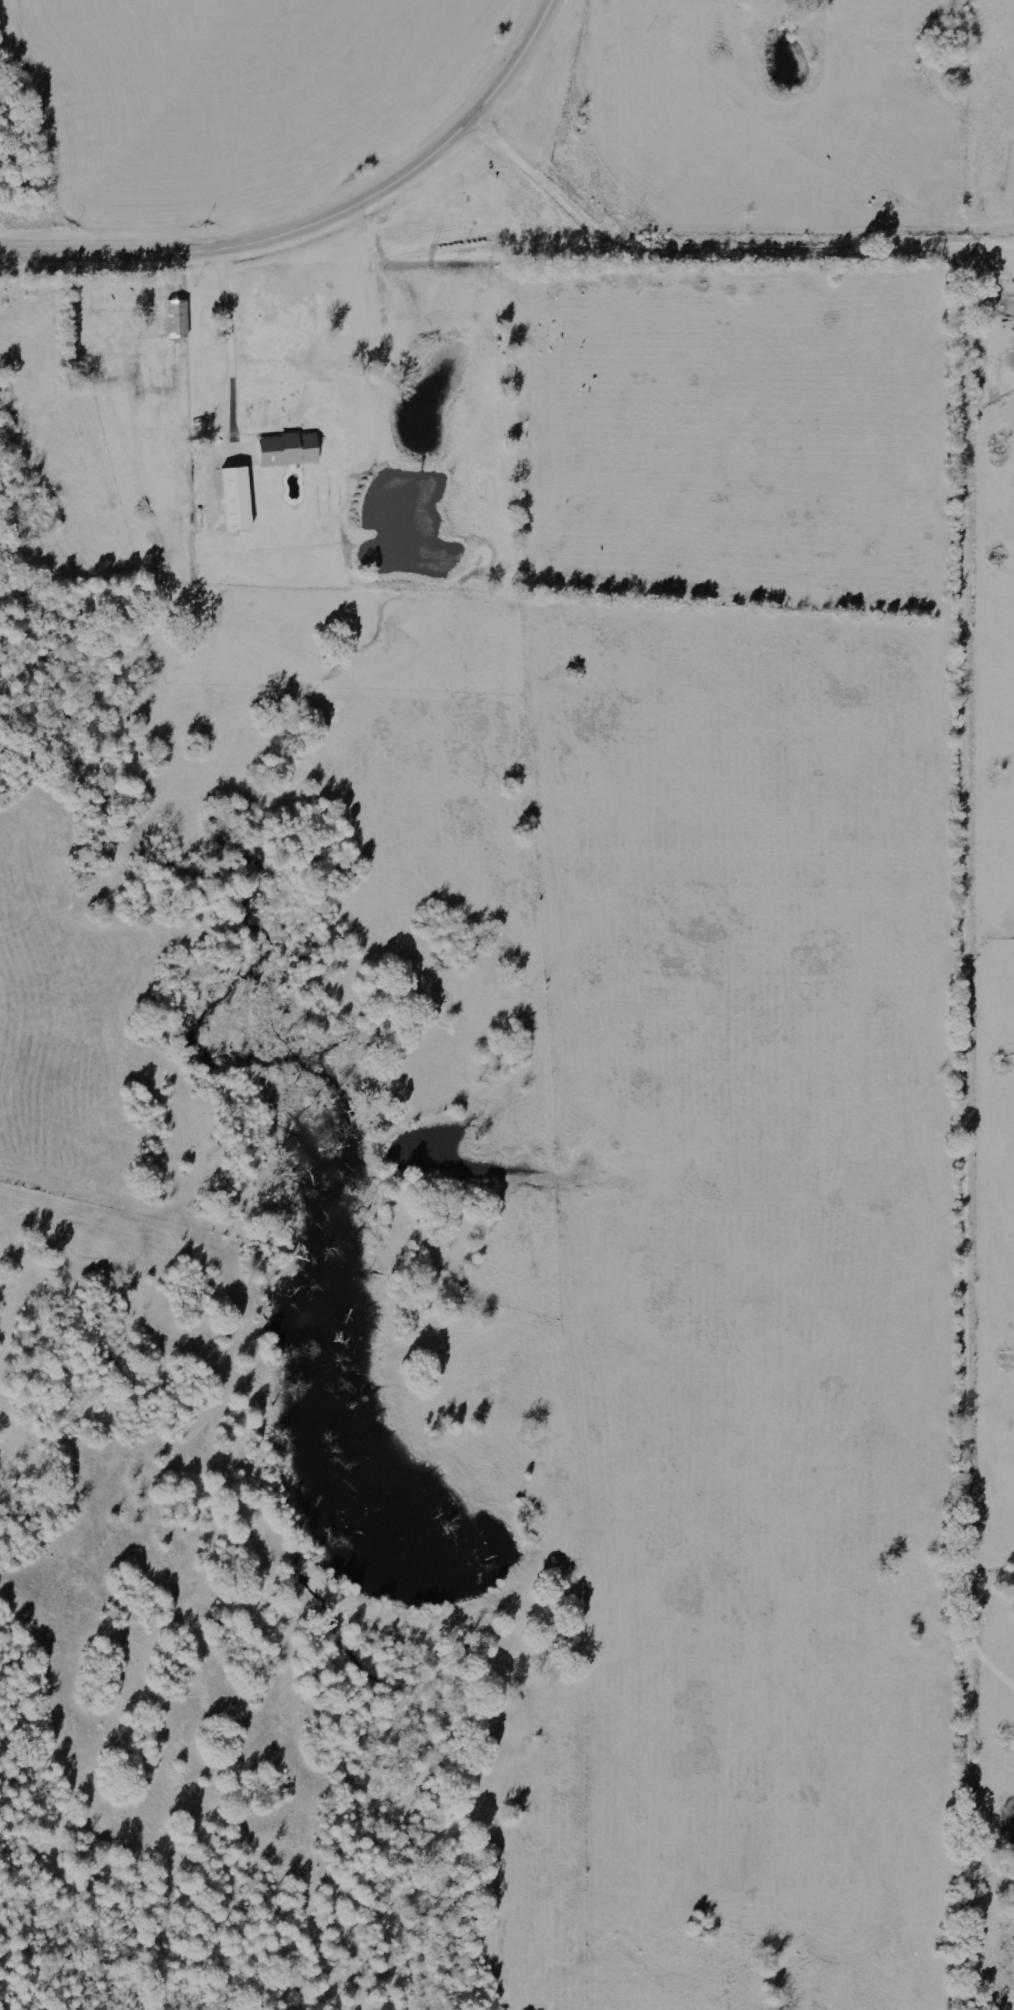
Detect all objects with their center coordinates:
road: (562, 146)
road: (321, 221)
building: (179, 319)
building: (291, 450)
building: (239, 499)
road: (974, 953)

